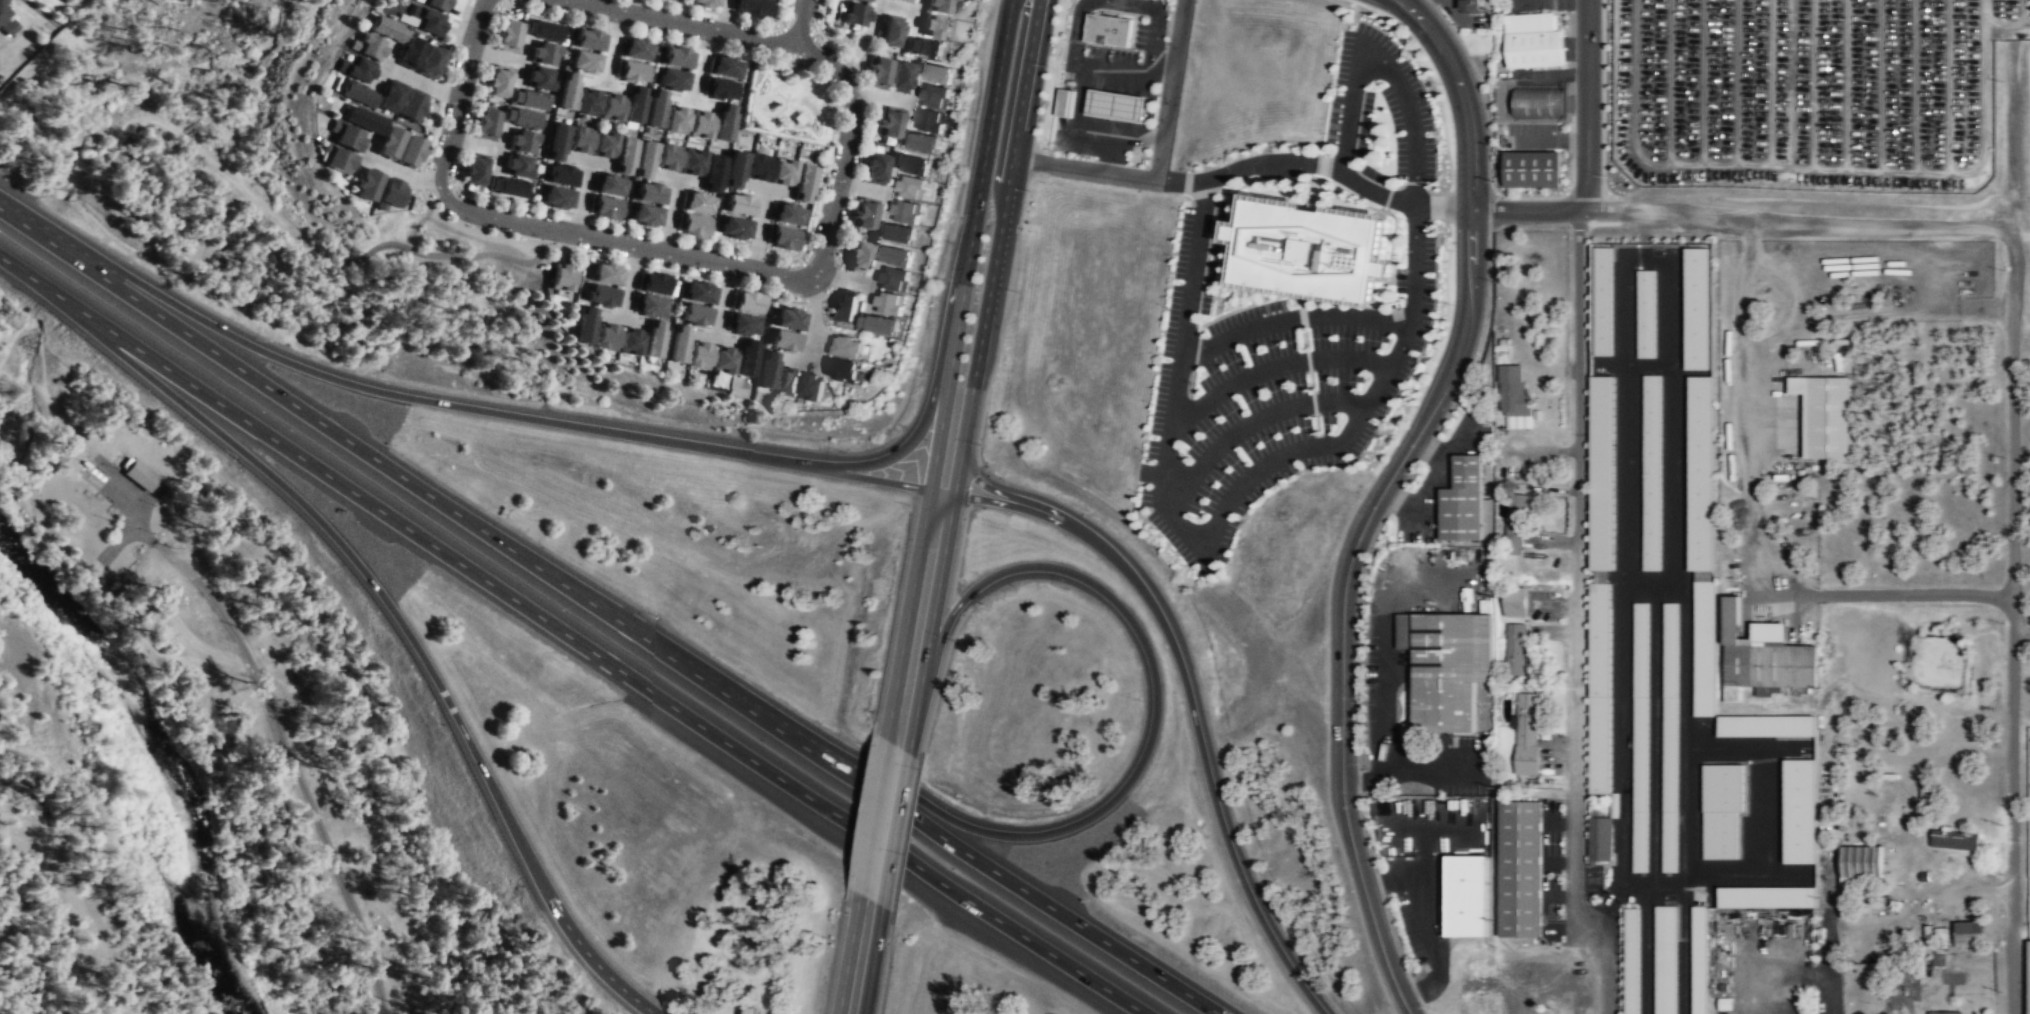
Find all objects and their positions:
building: (667, 0)
building: (862, 1)
building: (903, 1)
street lamp: (1350, 2)
building: (704, 3)
building: (434, 4)
building: (938, 6)
building: (1469, 6)
building: (750, 8)
building: (854, 16)
road: (681, 21)
road: (800, 21)
building: (7, 22)
building: (426, 22)
building: (934, 27)
building: (1109, 29)
building: (385, 30)
building: (542, 30)
building: (890, 33)
building: (508, 34)
building: (589, 40)
building: (1534, 40)
building: (366, 46)
building: (924, 48)
building: (636, 49)
building: (544, 53)
building: (677, 57)
building: (421, 58)
building: (584, 62)
road: (700, 64)
road: (1382, 64)
building: (724, 67)
building: (356, 69)
building: (632, 71)
building: (934, 73)
building: (878, 74)
building: (900, 77)
building: (539, 78)
building: (672, 80)
building: (497, 82)
street lamp: (1439, 83)
road: (1173, 89)
building: (720, 90)
building: (567, 91)
building: (355, 93)
road: (1463, 95)
building: (935, 96)
building: (391, 98)
road: (459, 98)
building: (529, 99)
road: (1587, 99)
park: (791, 100)
road: (694, 102)
building: (1066, 102)
building: (588, 103)
building: (1540, 103)
building: (632, 104)
building: (1118, 105)
building: (412, 107)
building: (612, 108)
road: (791, 108)
building: (655, 109)
road: (752, 109)
building: (521, 118)
building: (800, 118)
building: (676, 120)
street lamp: (975, 120)
building: (364, 121)
building: (930, 121)
building: (486, 123)
building: (724, 123)
building: (889, 124)
building: (701, 125)
road: (832, 129)
road: (813, 135)
building: (344, 136)
building: (580, 140)
building: (522, 141)
building: (557, 142)
building: (920, 142)
building: (390, 144)
building: (605, 146)
road: (847, 150)
building: (410, 152)
building: (625, 156)
building: (668, 157)
building: (336, 159)
building: (645, 160)
building: (693, 162)
building: (909, 164)
building: (517, 165)
road: (1245, 167)
building: (759, 168)
building: (875, 169)
building: (1533, 169)
building: (474, 170)
building: (735, 170)
building: (714, 173)
building: (783, 174)
building: (562, 176)
building: (367, 184)
street lamp: (1449, 184)
building: (609, 185)
building: (804, 185)
building: (507, 187)
road: (768, 187)
building: (911, 188)
building: (390, 192)
building: (650, 193)
building: (557, 198)
building: (698, 203)
building: (740, 206)
building: (605, 208)
road: (1526, 210)
building: (906, 212)
road: (976, 212)
road: (1004, 215)
building: (646, 216)
building: (787, 216)
building: (864, 216)
road: (1798, 222)
building: (692, 225)
building: (734, 230)
road: (759, 230)
building: (896, 234)
building: (783, 240)
road: (624, 247)
building: (1310, 249)
road: (1471, 250)
building: (892, 255)
building: (858, 257)
road: (800, 261)
road: (1748, 262)
road: (809, 271)
building: (607, 273)
road: (28, 276)
building: (561, 277)
street lamp: (944, 278)
building: (895, 279)
building: (656, 283)
building: (700, 292)
building: (601, 296)
building: (1604, 300)
building: (747, 303)
building: (890, 303)
street lamp: (1451, 303)
building: (845, 305)
building: (650, 306)
building: (1697, 308)
road: (812, 310)
building: (1646, 313)
building: (695, 315)
road: (1293, 318)
building: (789, 319)
building: (879, 324)
building: (585, 325)
building: (742, 325)
building: (606, 337)
building: (653, 339)
building: (784, 341)
building: (630, 342)
building: (678, 344)
building: (847, 346)
building: (698, 355)
building: (747, 358)
building: (723, 360)
road: (1273, 368)
building: (843, 369)
building: (767, 371)
building: (787, 382)
building: (812, 386)
street lamp: (1420, 395)
building: (1514, 395)
road: (455, 406)
building: (1824, 414)
road: (1251, 423)
street lamp: (847, 451)
road: (893, 455)
building: (1652, 472)
building: (1603, 473)
building: (138, 476)
road: (983, 484)
building: (1465, 499)
road: (1221, 518)
building: (1515, 523)
road: (2018, 535)
river: (3, 539)
building: (1701, 540)
road: (927, 586)
road: (1886, 598)
building: (1515, 601)
road: (1579, 608)
road: (608, 612)
road: (399, 617)
road: (2024, 631)
road: (1343, 642)
building: (1516, 649)
road: (600, 655)
building: (1763, 656)
building: (1447, 667)
building: (1601, 687)
road: (1196, 694)
road: (1155, 723)
building: (1766, 725)
building: (1527, 732)
building: (1641, 737)
building: (1671, 737)
road: (287, 751)
river: (165, 759)
building: (1722, 809)
building: (1799, 810)
road: (886, 822)
building: (1955, 839)
building: (1599, 840)
building: (1861, 864)
building: (1522, 868)
building: (1468, 896)
building: (1768, 896)
building: (1969, 933)
building: (1939, 937)
road: (862, 956)
building: (1665, 959)
building: (1698, 959)
building: (1632, 960)
road: (1826, 968)
building: (2029, 975)
building: (1944, 1012)

